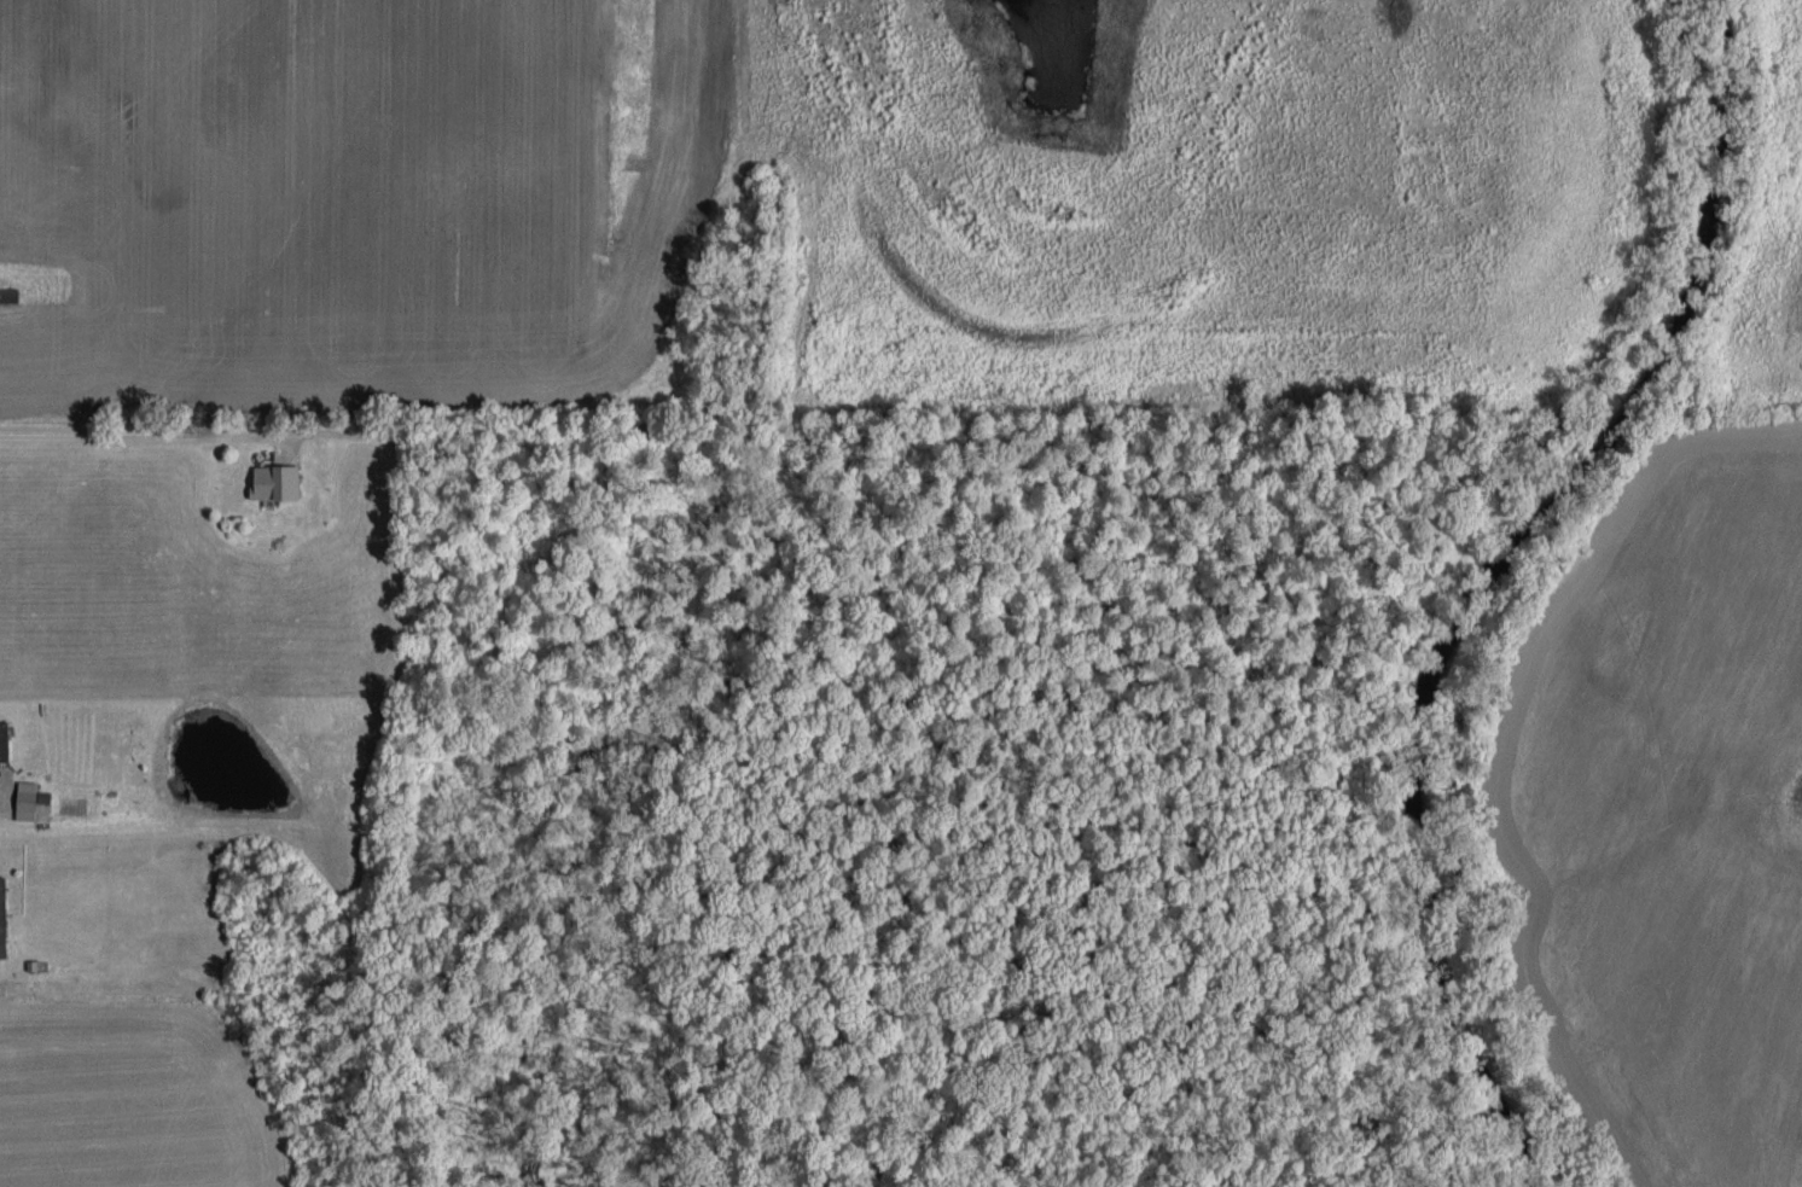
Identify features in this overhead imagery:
road: (143, 447)
building: (273, 481)
river: (1449, 588)
building: (2, 740)
building: (25, 795)
building: (2, 918)

